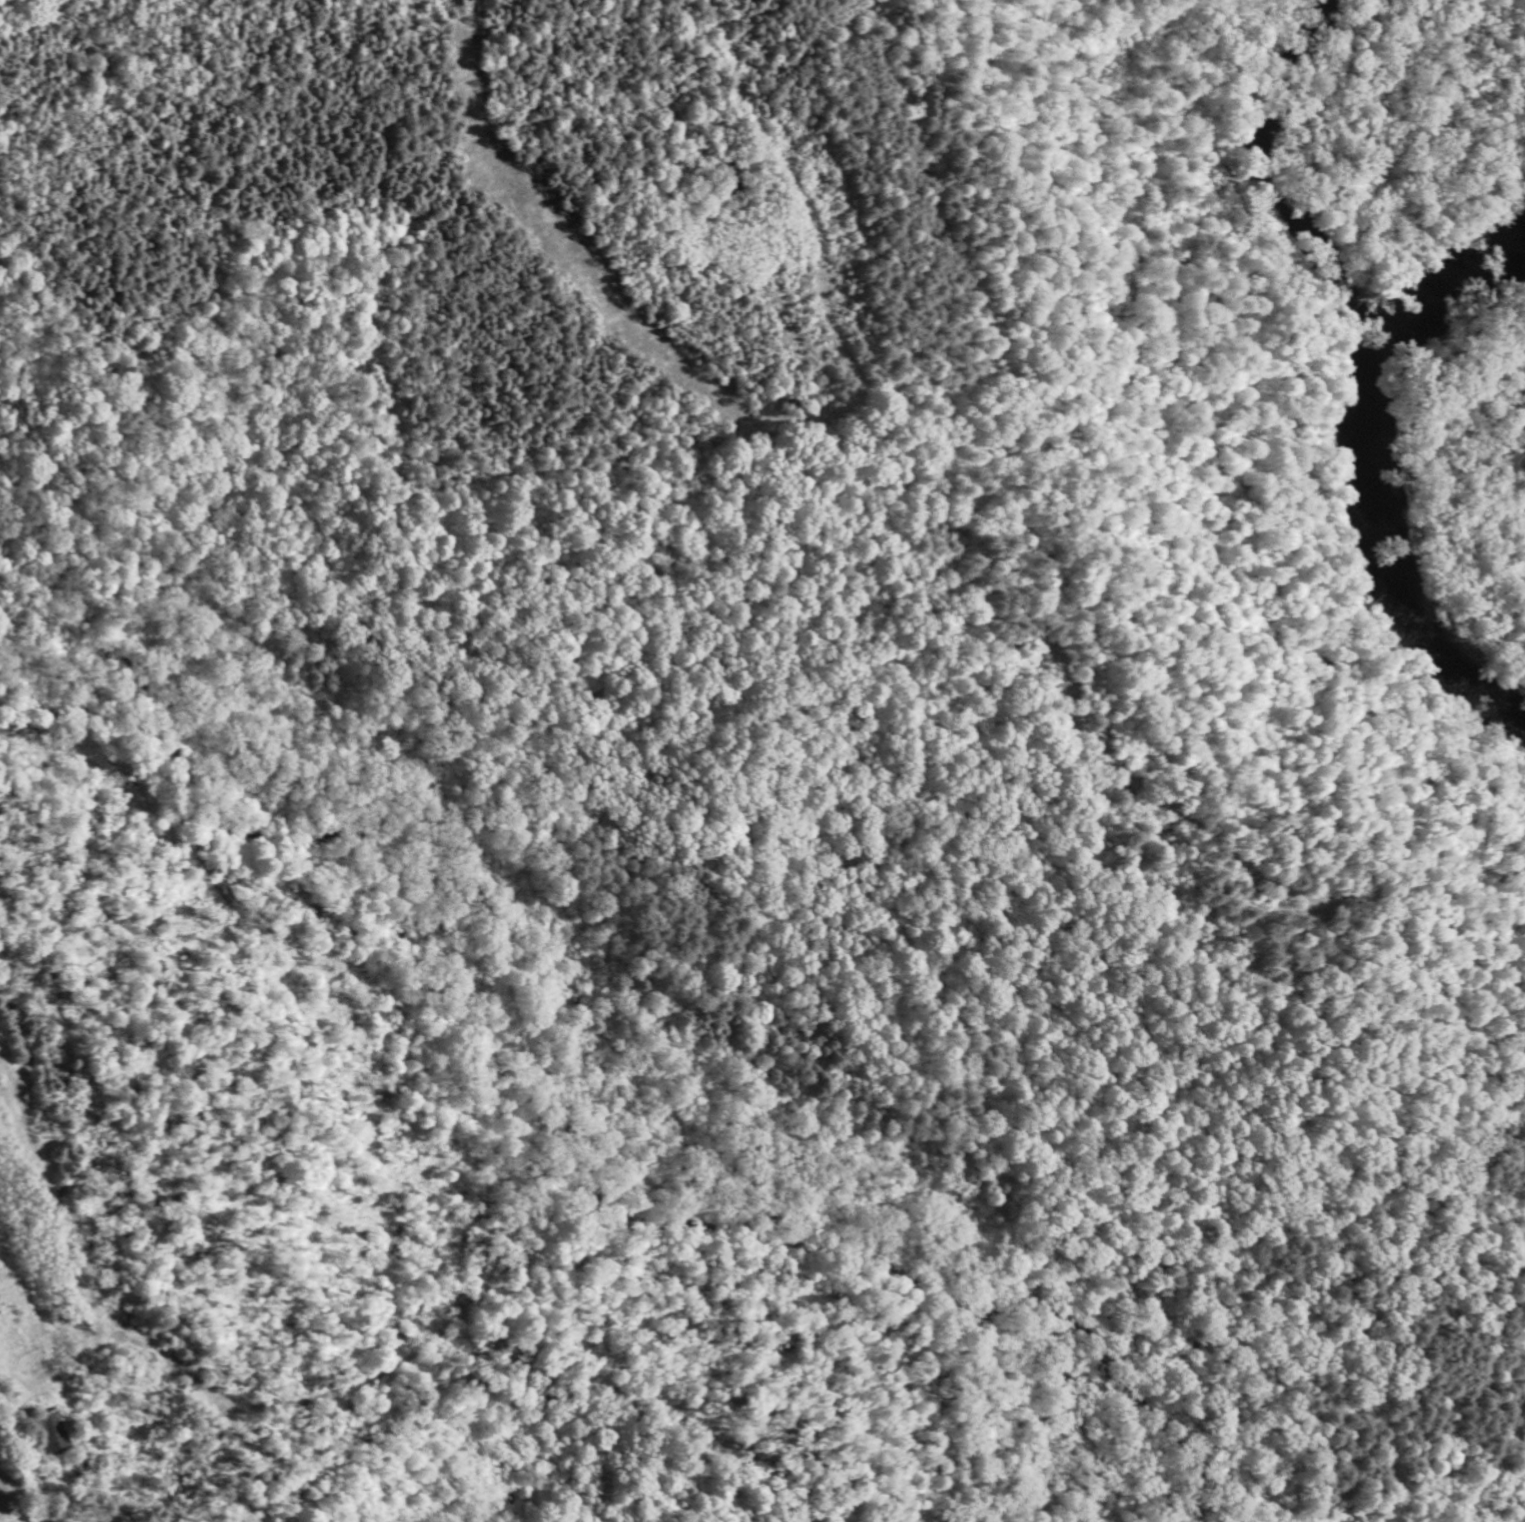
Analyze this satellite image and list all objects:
river: (1364, 467)

